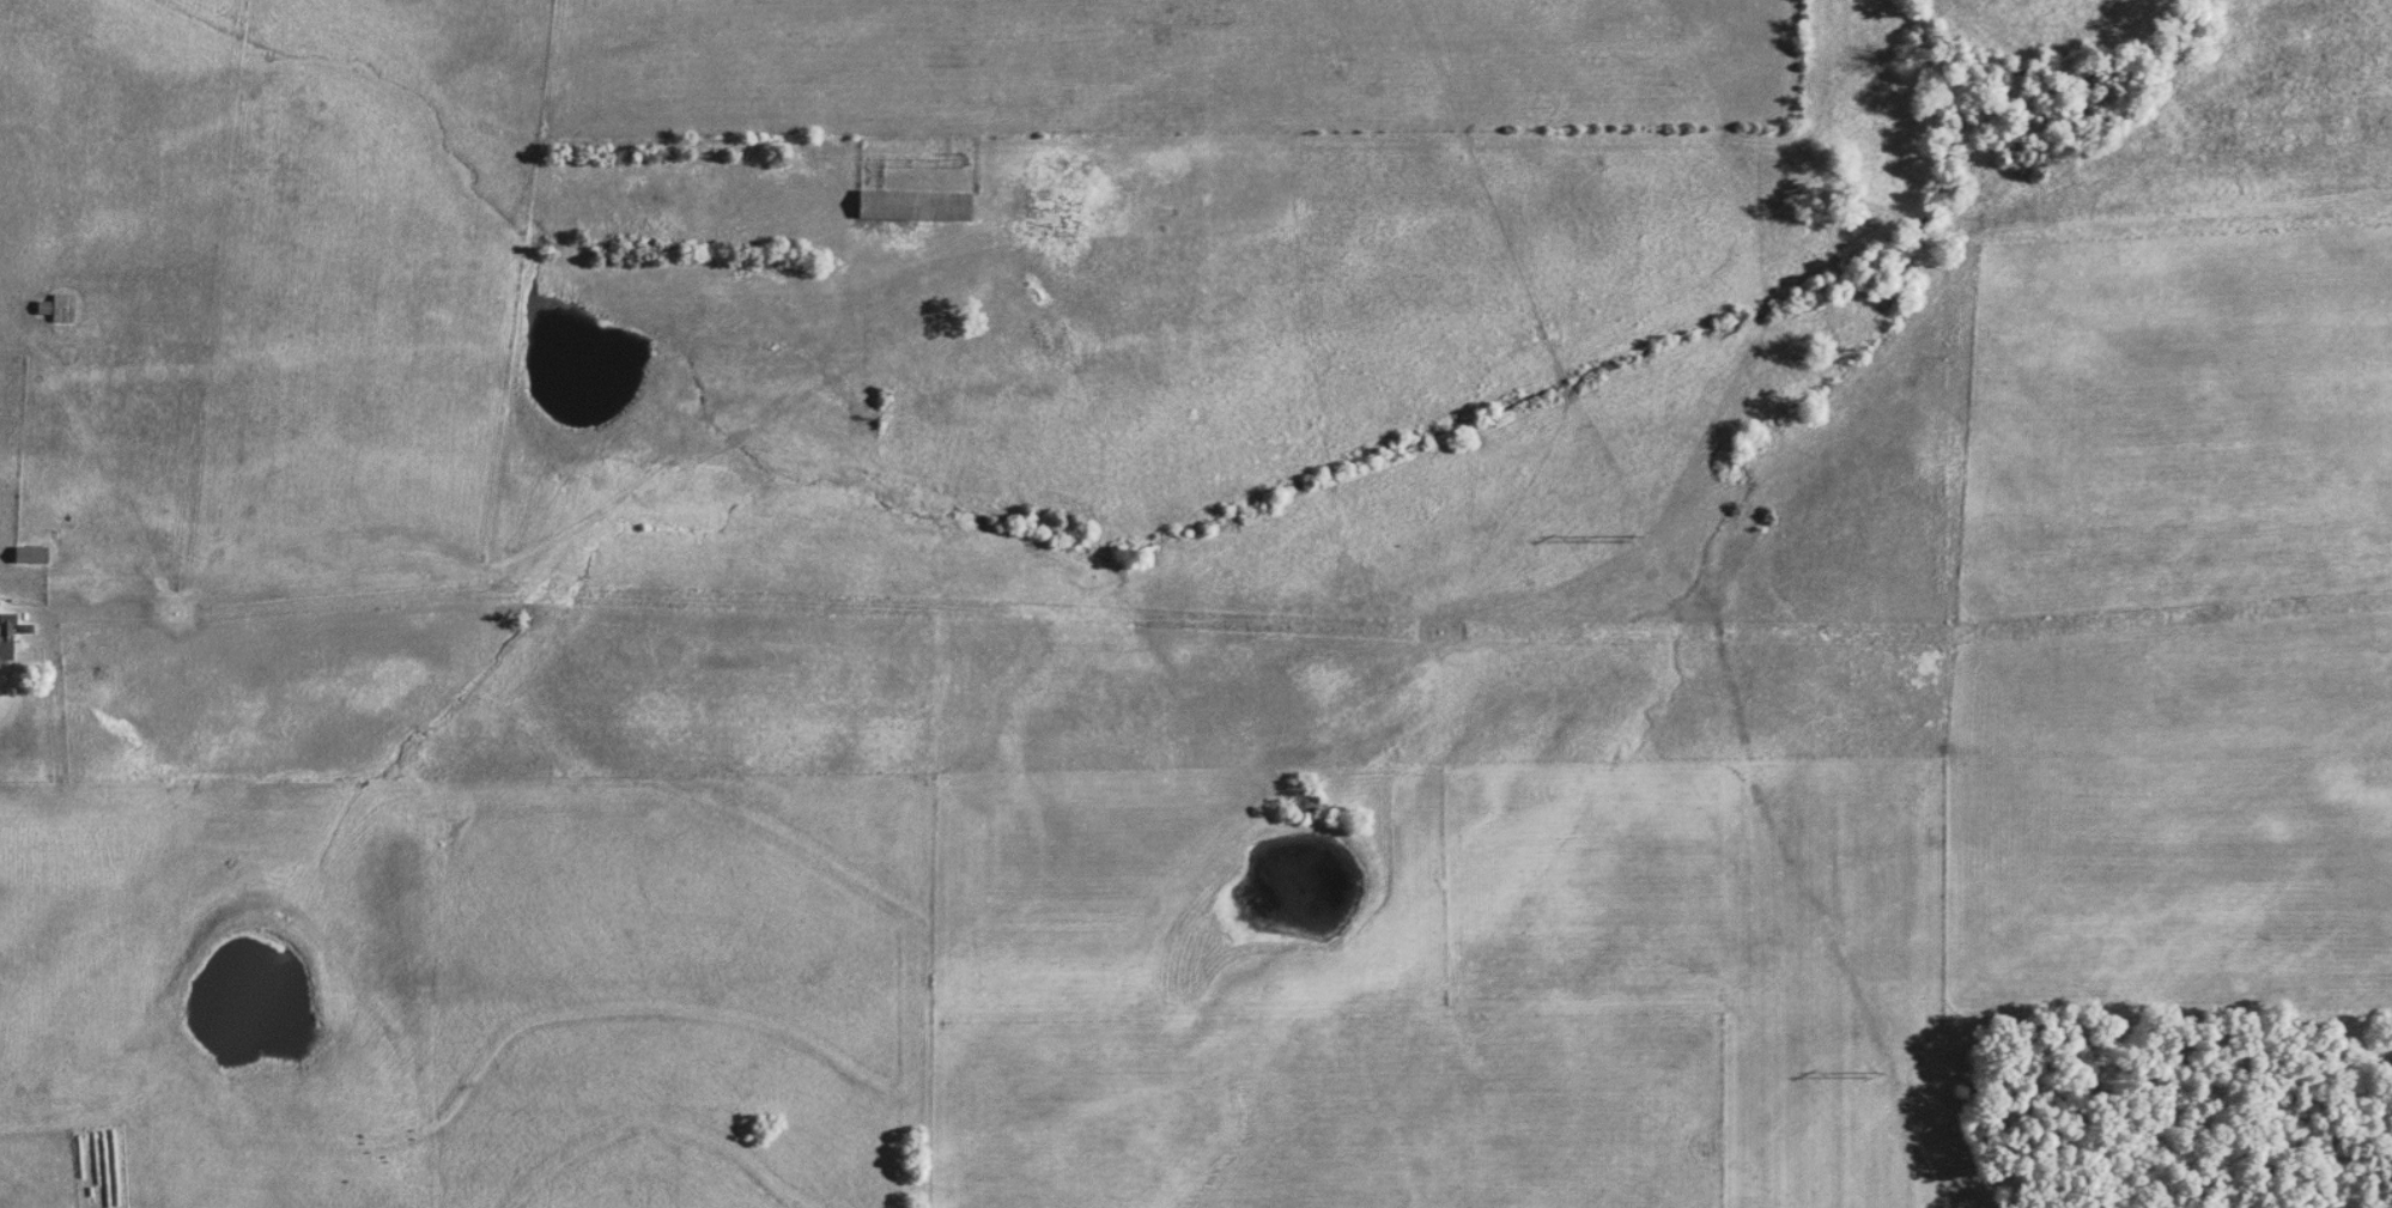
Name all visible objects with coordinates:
building: (916, 204)
building: (57, 306)
road: (527, 539)
building: (32, 552)
building: (7, 636)

